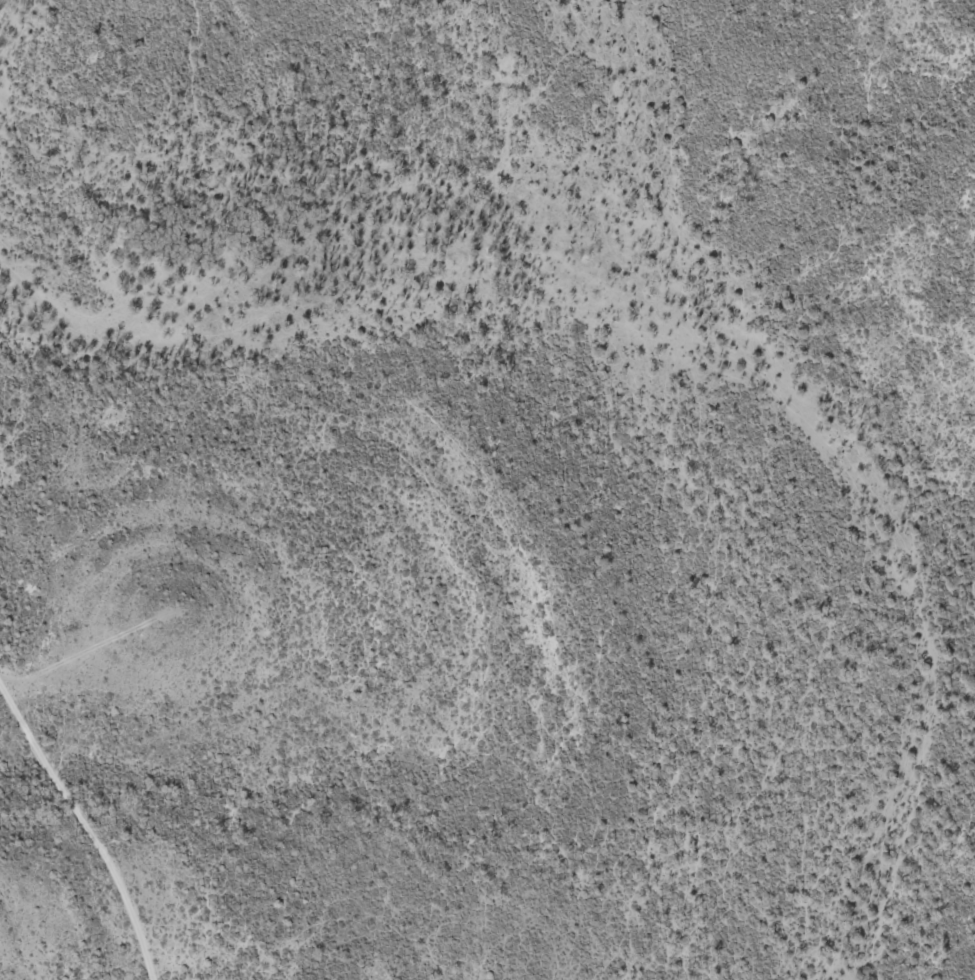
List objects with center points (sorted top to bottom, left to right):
road: (89, 829)

